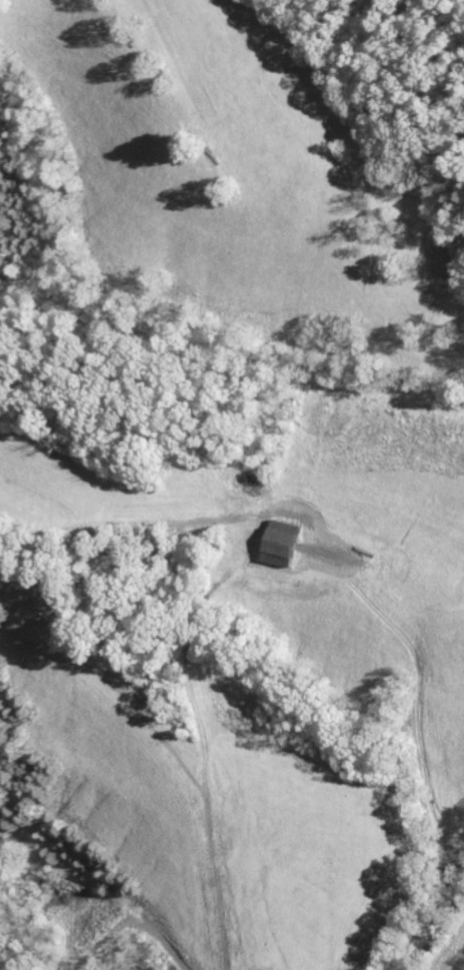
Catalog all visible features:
building: (286, 543)
road: (332, 926)

